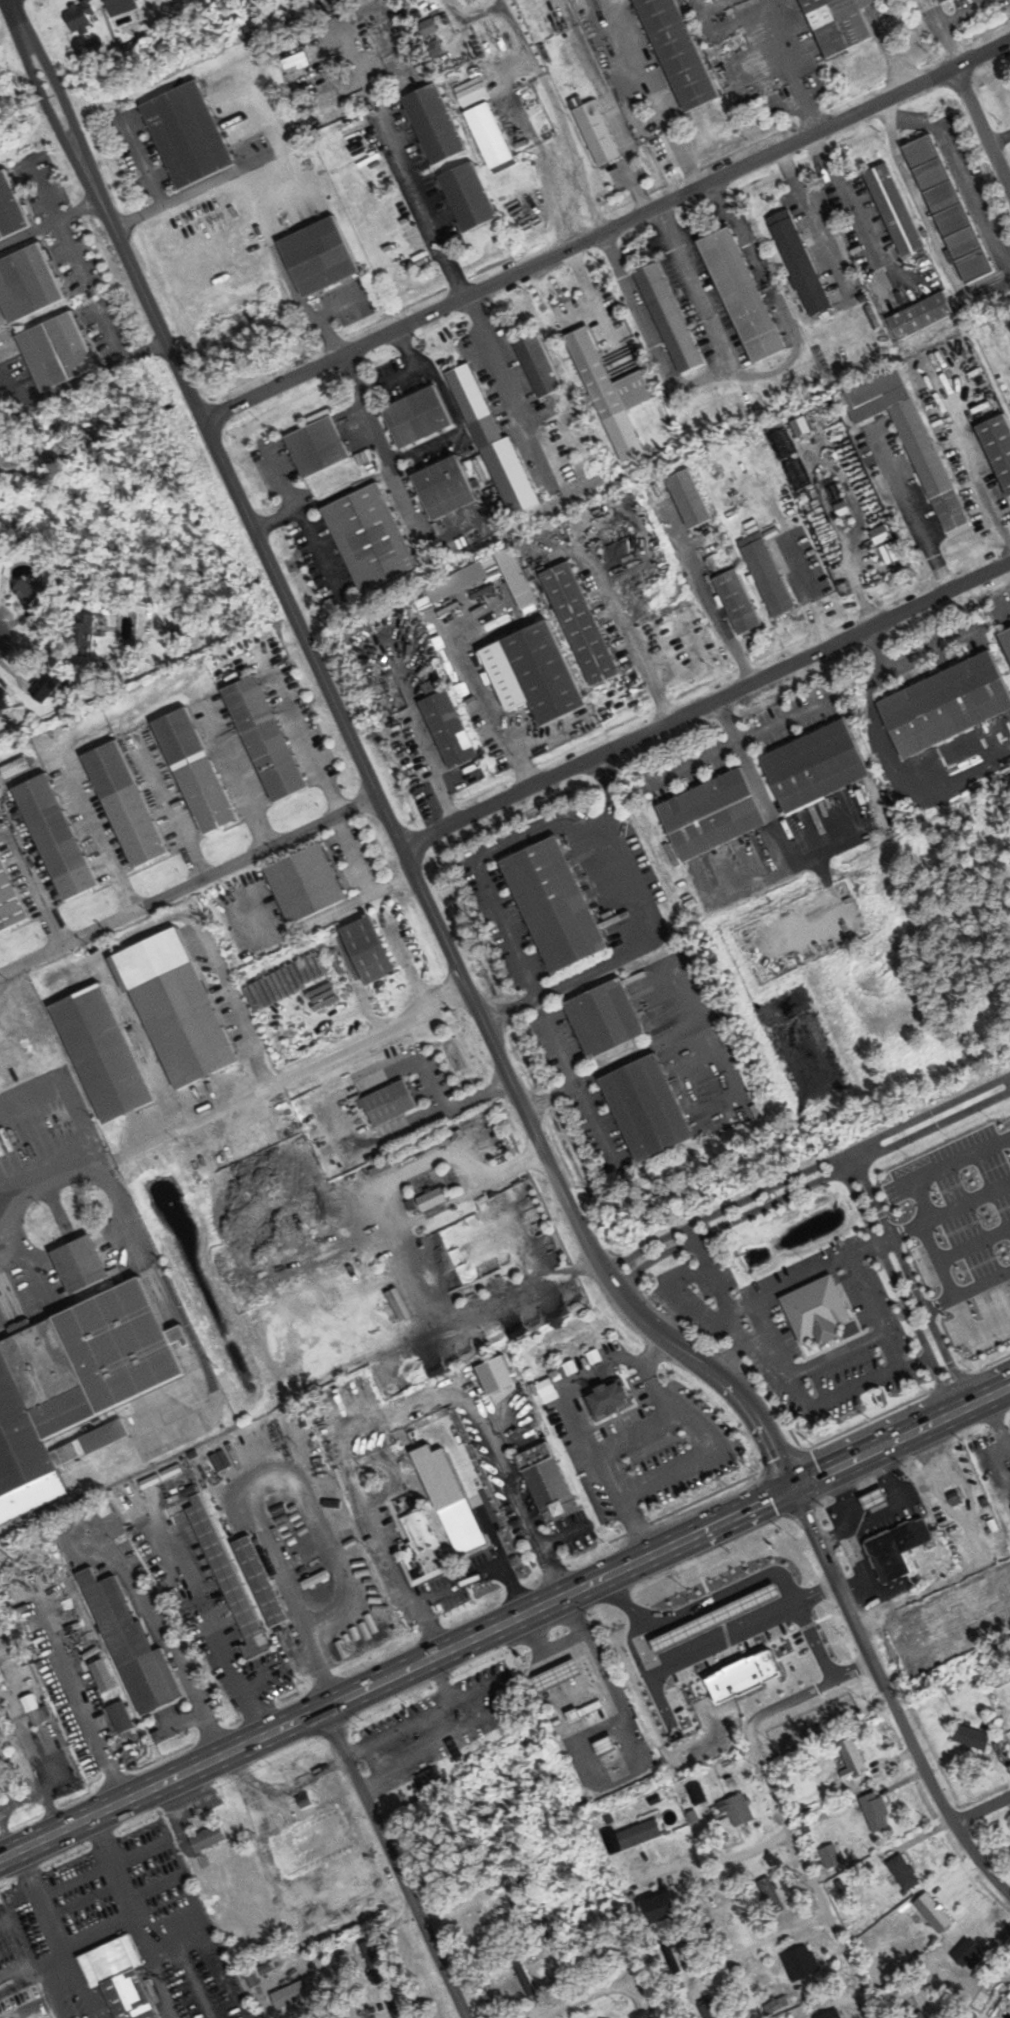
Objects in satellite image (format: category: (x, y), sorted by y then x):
building: (942, 1)
building: (121, 6)
building: (79, 17)
building: (839, 24)
building: (428, 27)
building: (678, 52)
road: (792, 74)
road: (506, 76)
building: (434, 122)
road: (669, 126)
road: (980, 130)
building: (597, 132)
building: (187, 133)
building: (490, 134)
road: (564, 154)
building: (468, 195)
road: (847, 199)
building: (11, 206)
building: (948, 207)
road: (423, 208)
road: (561, 208)
road: (52, 209)
building: (894, 209)
road: (102, 211)
road: (811, 216)
road: (605, 230)
building: (319, 255)
building: (802, 265)
building: (28, 282)
building: (741, 294)
building: (921, 315)
building: (669, 317)
road: (328, 335)
building: (57, 350)
road: (119, 351)
building: (538, 364)
building: (607, 378)
building: (417, 416)
building: (912, 437)
building: (495, 444)
building: (317, 446)
building: (998, 446)
building: (445, 487)
building: (689, 497)
road: (913, 515)
building: (370, 537)
building: (767, 574)
building: (27, 592)
building: (737, 601)
road: (1007, 607)
building: (580, 623)
road: (630, 631)
building: (83, 634)
building: (1006, 639)
building: (534, 672)
building: (44, 685)
building: (3, 701)
road: (704, 703)
building: (947, 703)
building: (448, 728)
building: (265, 738)
building: (822, 765)
building: (16, 767)
building: (196, 770)
building: (126, 804)
building: (715, 813)
building: (55, 836)
building: (306, 883)
road: (188, 886)
building: (8, 901)
building: (555, 904)
building: (368, 950)
road: (462, 981)
building: (175, 1007)
building: (605, 1018)
building: (102, 1053)
building: (203, 1097)
building: (388, 1102)
building: (647, 1108)
road: (847, 1158)
building: (432, 1199)
road: (950, 1210)
parking lot: (960, 1229)
road: (692, 1231)
road: (926, 1232)
road: (884, 1240)
road: (974, 1243)
building: (81, 1264)
road: (712, 1274)
road: (606, 1281)
road: (532, 1288)
road: (966, 1289)
road: (916, 1293)
road: (902, 1296)
road: (695, 1302)
building: (817, 1310)
road: (782, 1363)
road: (567, 1387)
building: (72, 1391)
building: (609, 1400)
road: (624, 1438)
road: (698, 1458)
building: (547, 1481)
traffic signals: (791, 1489)
building: (450, 1498)
building: (875, 1499)
building: (422, 1548)
building: (896, 1549)
building: (228, 1578)
road: (762, 1579)
building: (261, 1582)
road: (815, 1596)
road: (618, 1601)
building: (716, 1617)
gas station: (716, 1617)
road: (505, 1622)
road: (216, 1633)
building: (133, 1648)
road: (704, 1649)
road: (168, 1651)
building: (659, 1655)
building: (798, 1674)
building: (102, 1675)
building: (562, 1675)
building: (747, 1676)
road: (808, 1692)
road: (889, 1699)
building: (40, 1715)
building: (121, 1717)
road: (89, 1718)
building: (973, 1736)
building: (852, 1757)
building: (302, 1764)
building: (698, 1793)
building: (738, 1808)
road: (981, 1809)
building: (875, 1811)
building: (311, 1813)
building: (639, 1833)
building: (207, 1837)
building: (831, 1855)
road: (394, 1862)
building: (904, 1871)
road: (809, 1873)
building: (771, 1893)
building: (663, 1907)
building: (493, 1910)
building: (933, 1912)
road: (48, 1914)
road: (167, 1916)
road: (31, 1951)
building: (969, 1953)
building: (803, 1962)
building: (118, 1978)
building: (525, 1979)
road: (61, 1980)
building: (295, 1992)
road: (597, 1995)
road: (87, 1999)
road: (29, 2006)
building: (711, 2007)
road: (59, 2009)
building: (830, 2014)
building: (918, 2015)

